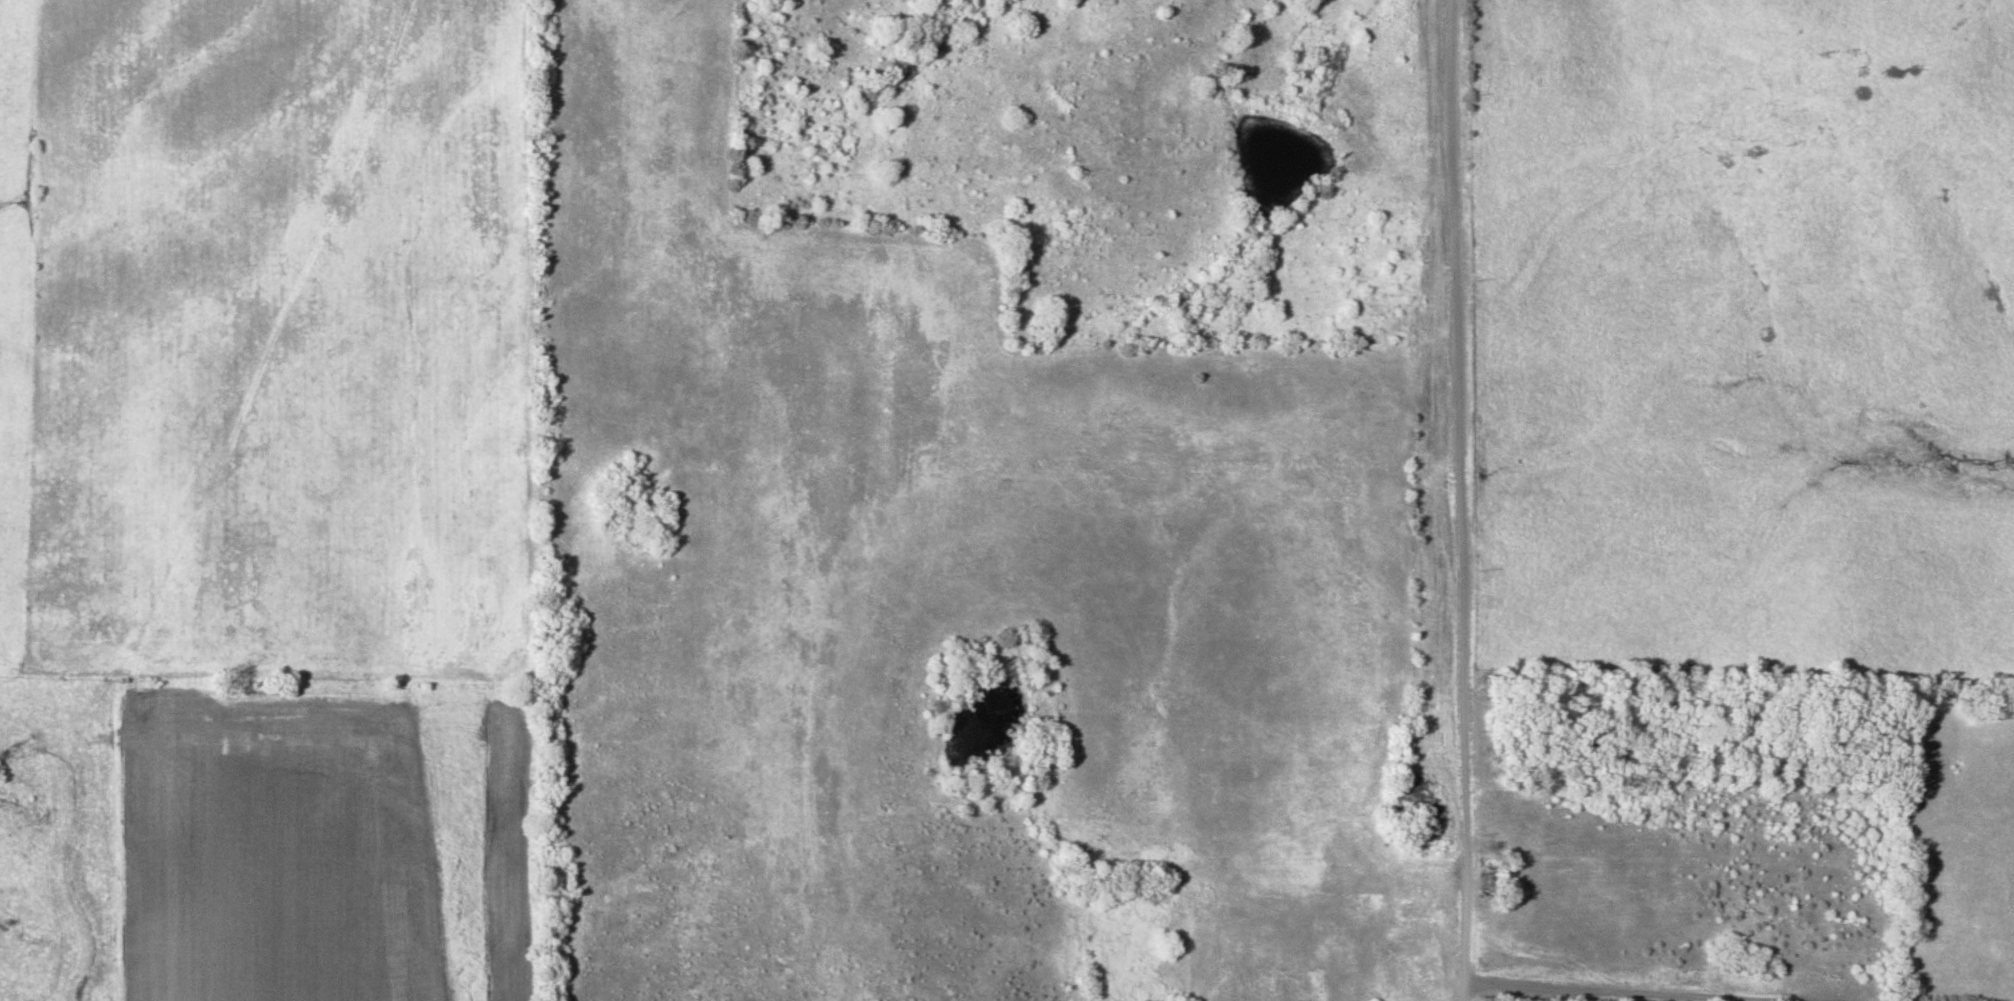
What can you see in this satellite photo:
road: (1462, 500)
road: (1595, 994)

